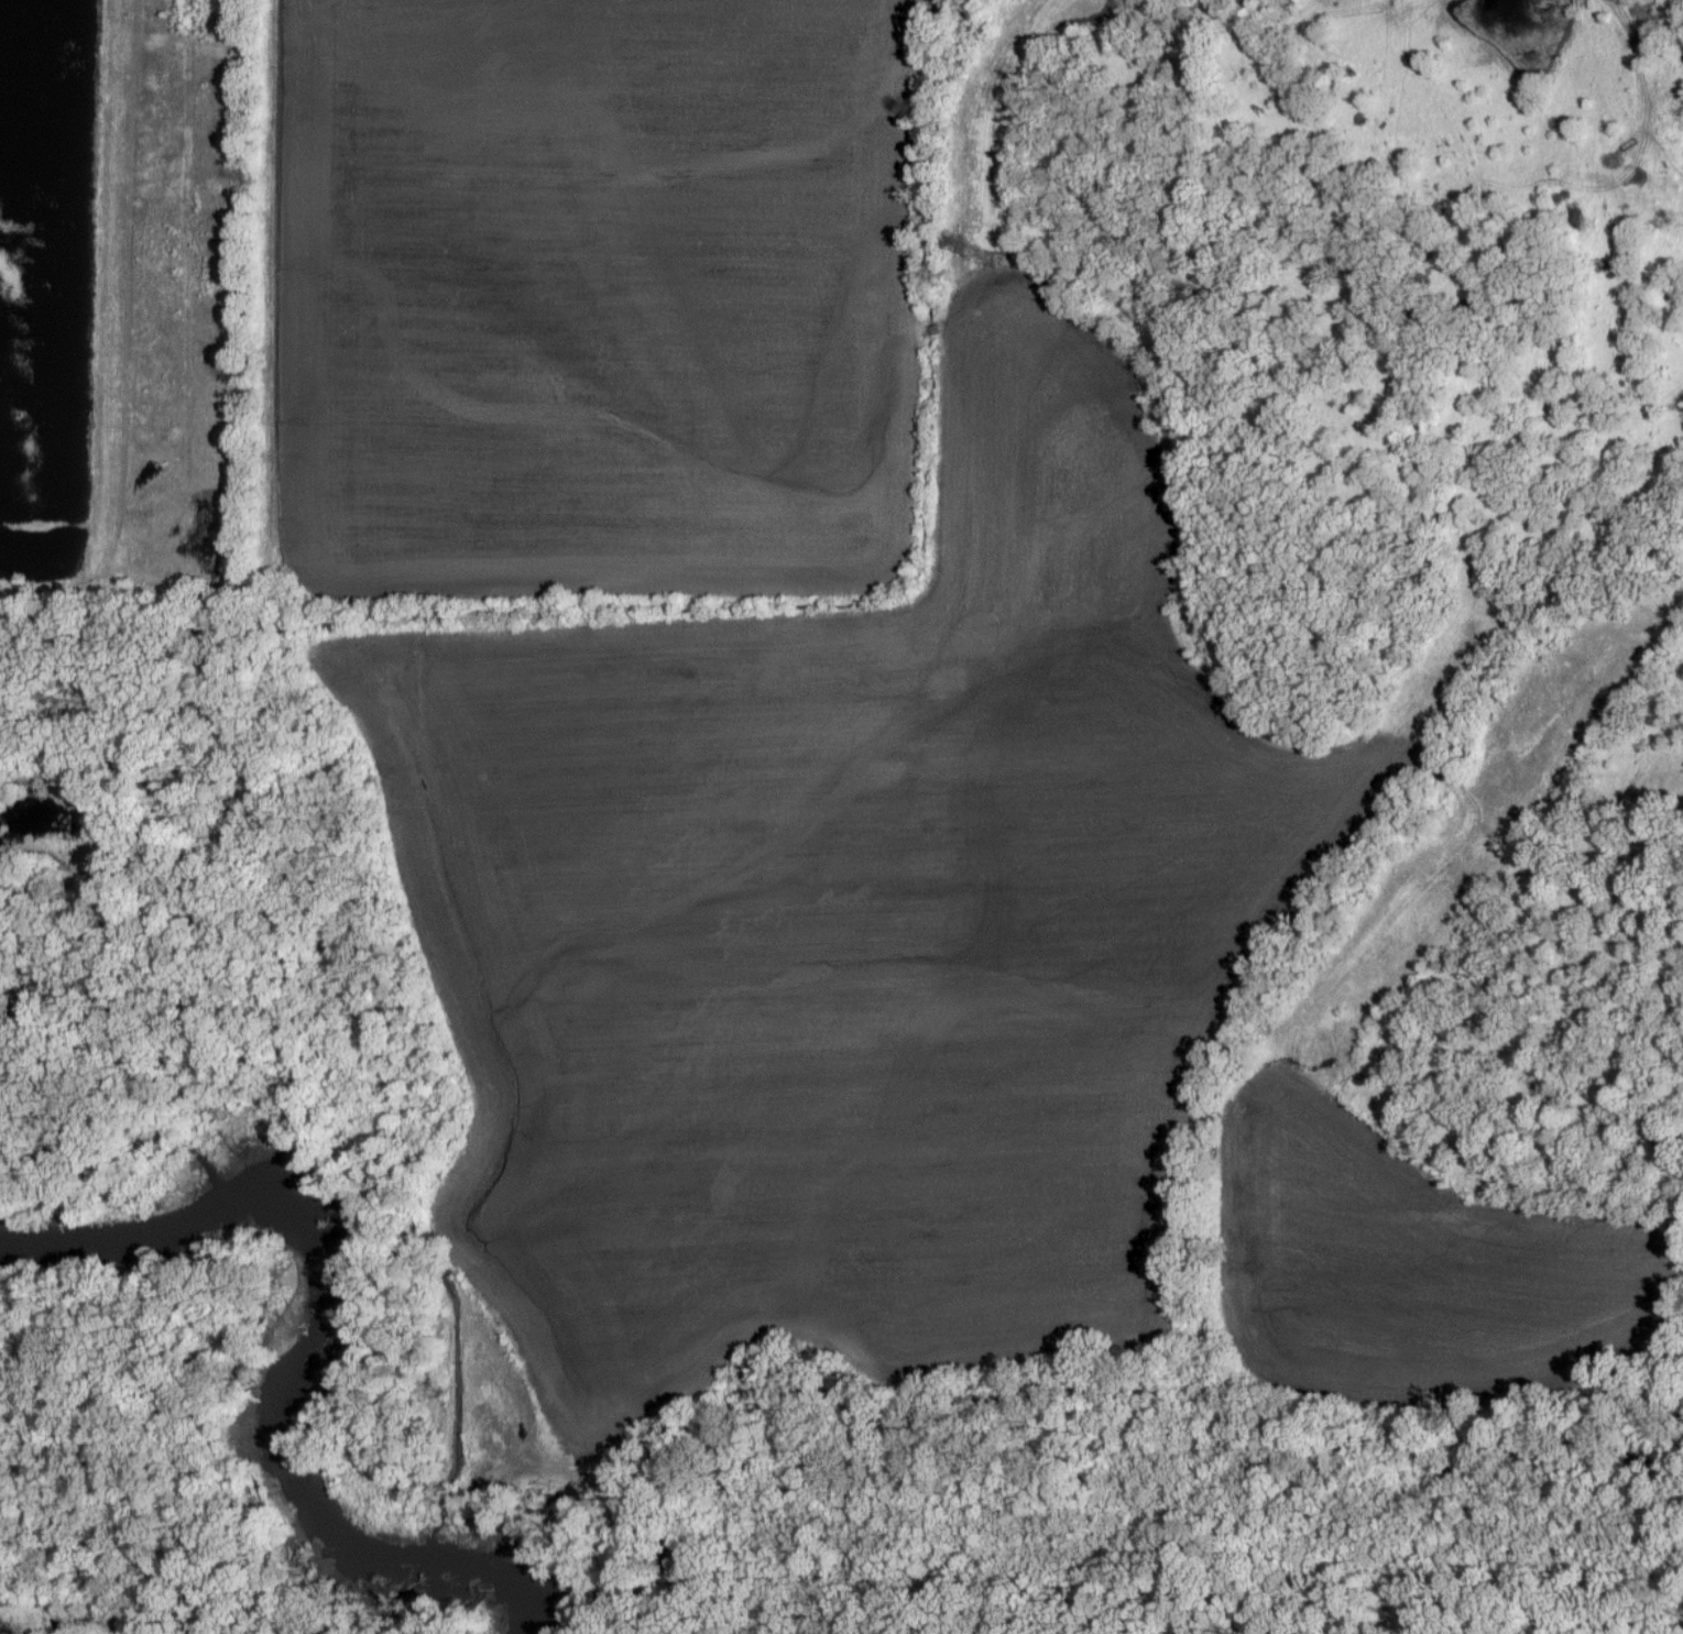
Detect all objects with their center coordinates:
road: (1622, 12)

